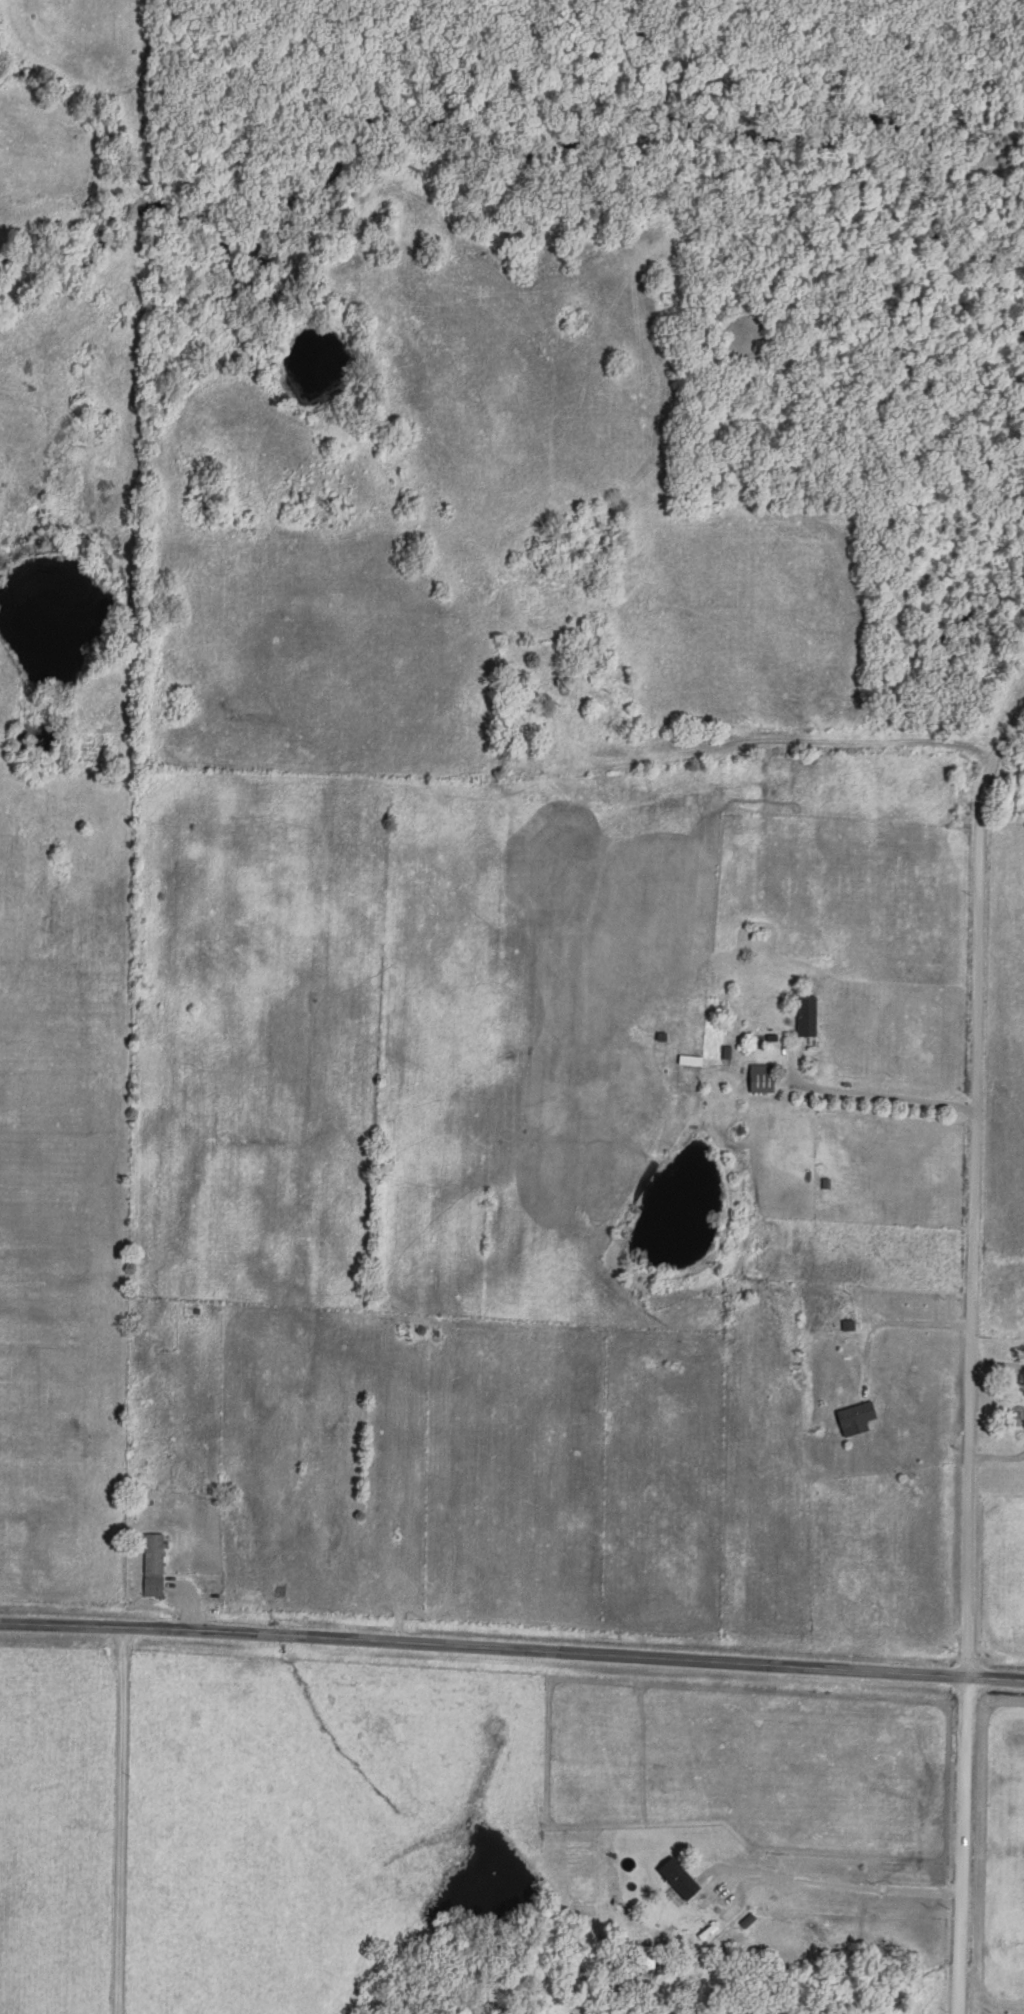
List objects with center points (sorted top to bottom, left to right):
road: (755, 742)
building: (807, 1012)
building: (762, 1075)
road: (862, 1100)
road: (900, 1320)
road: (972, 1357)
road: (999, 1364)
building: (856, 1415)
road: (998, 1459)
building: (153, 1561)
road: (512, 1651)
road: (123, 1821)
building: (678, 1875)
road: (828, 1886)

